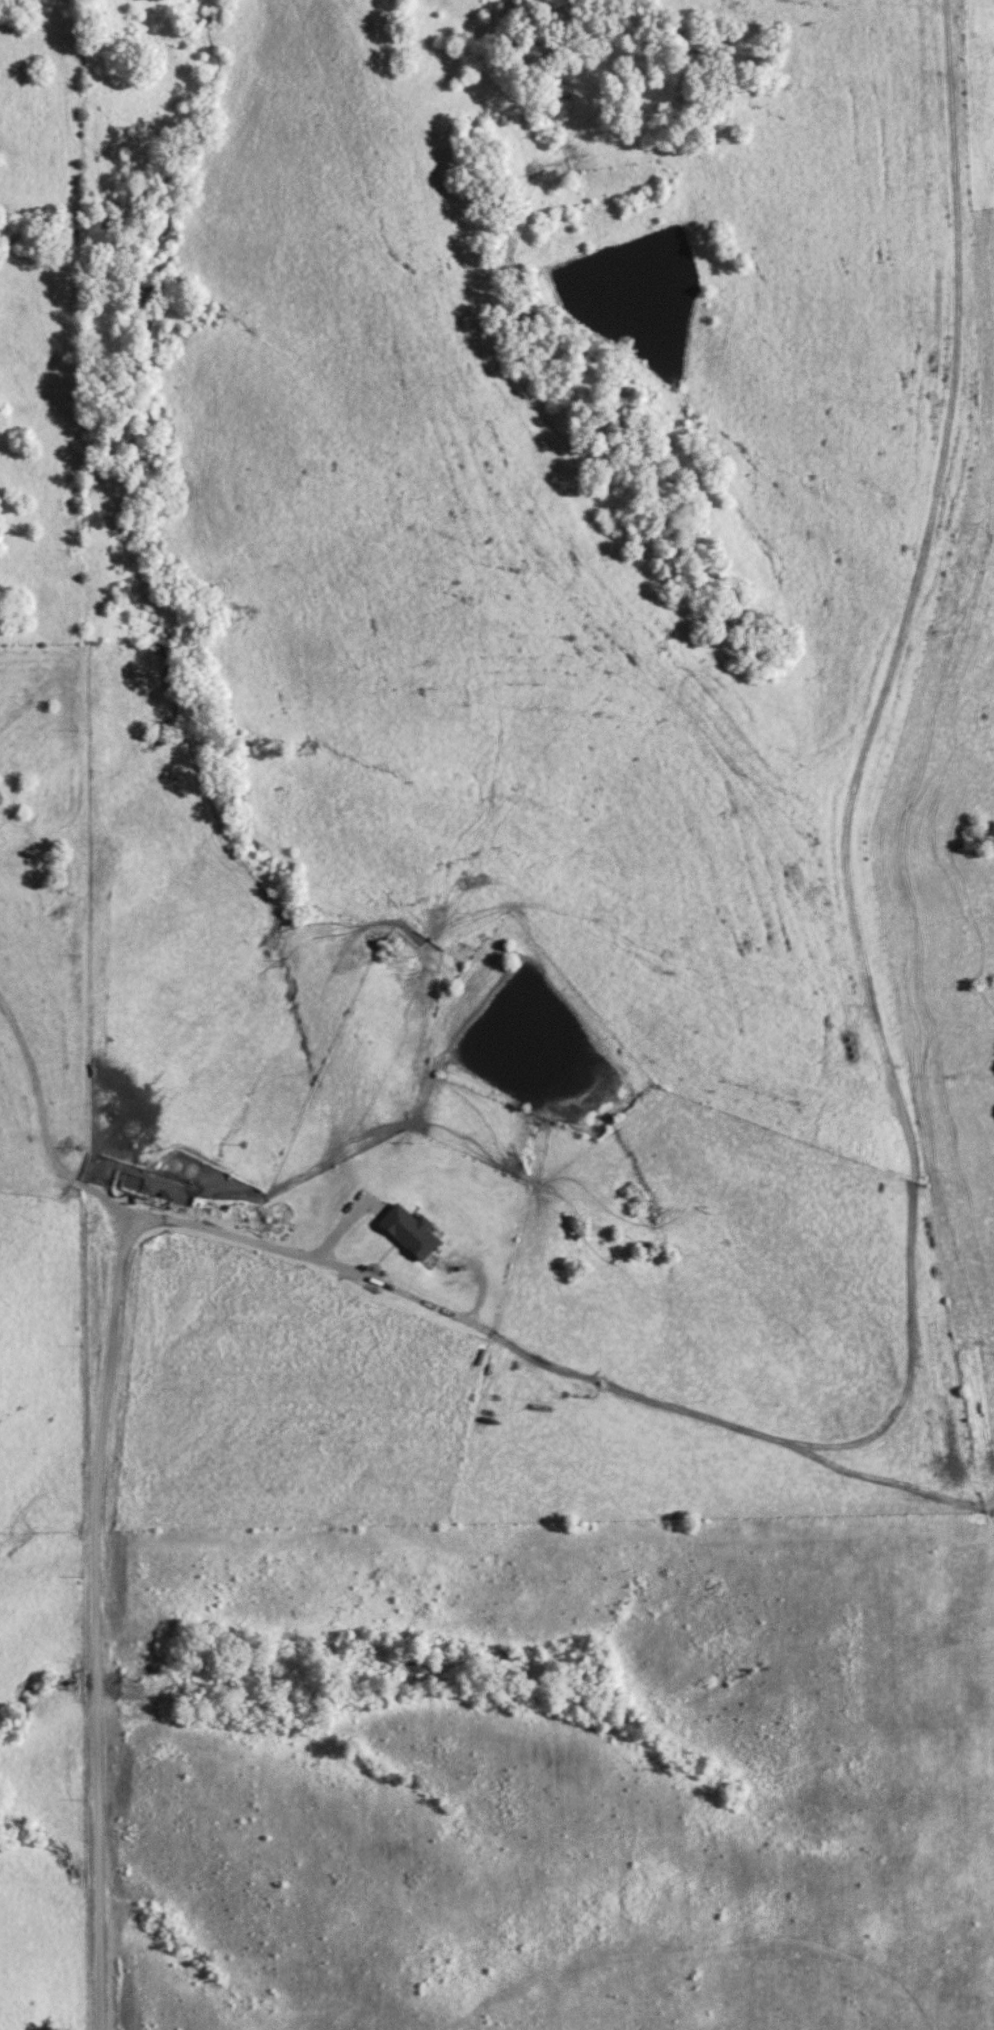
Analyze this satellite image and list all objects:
road: (91, 1534)

